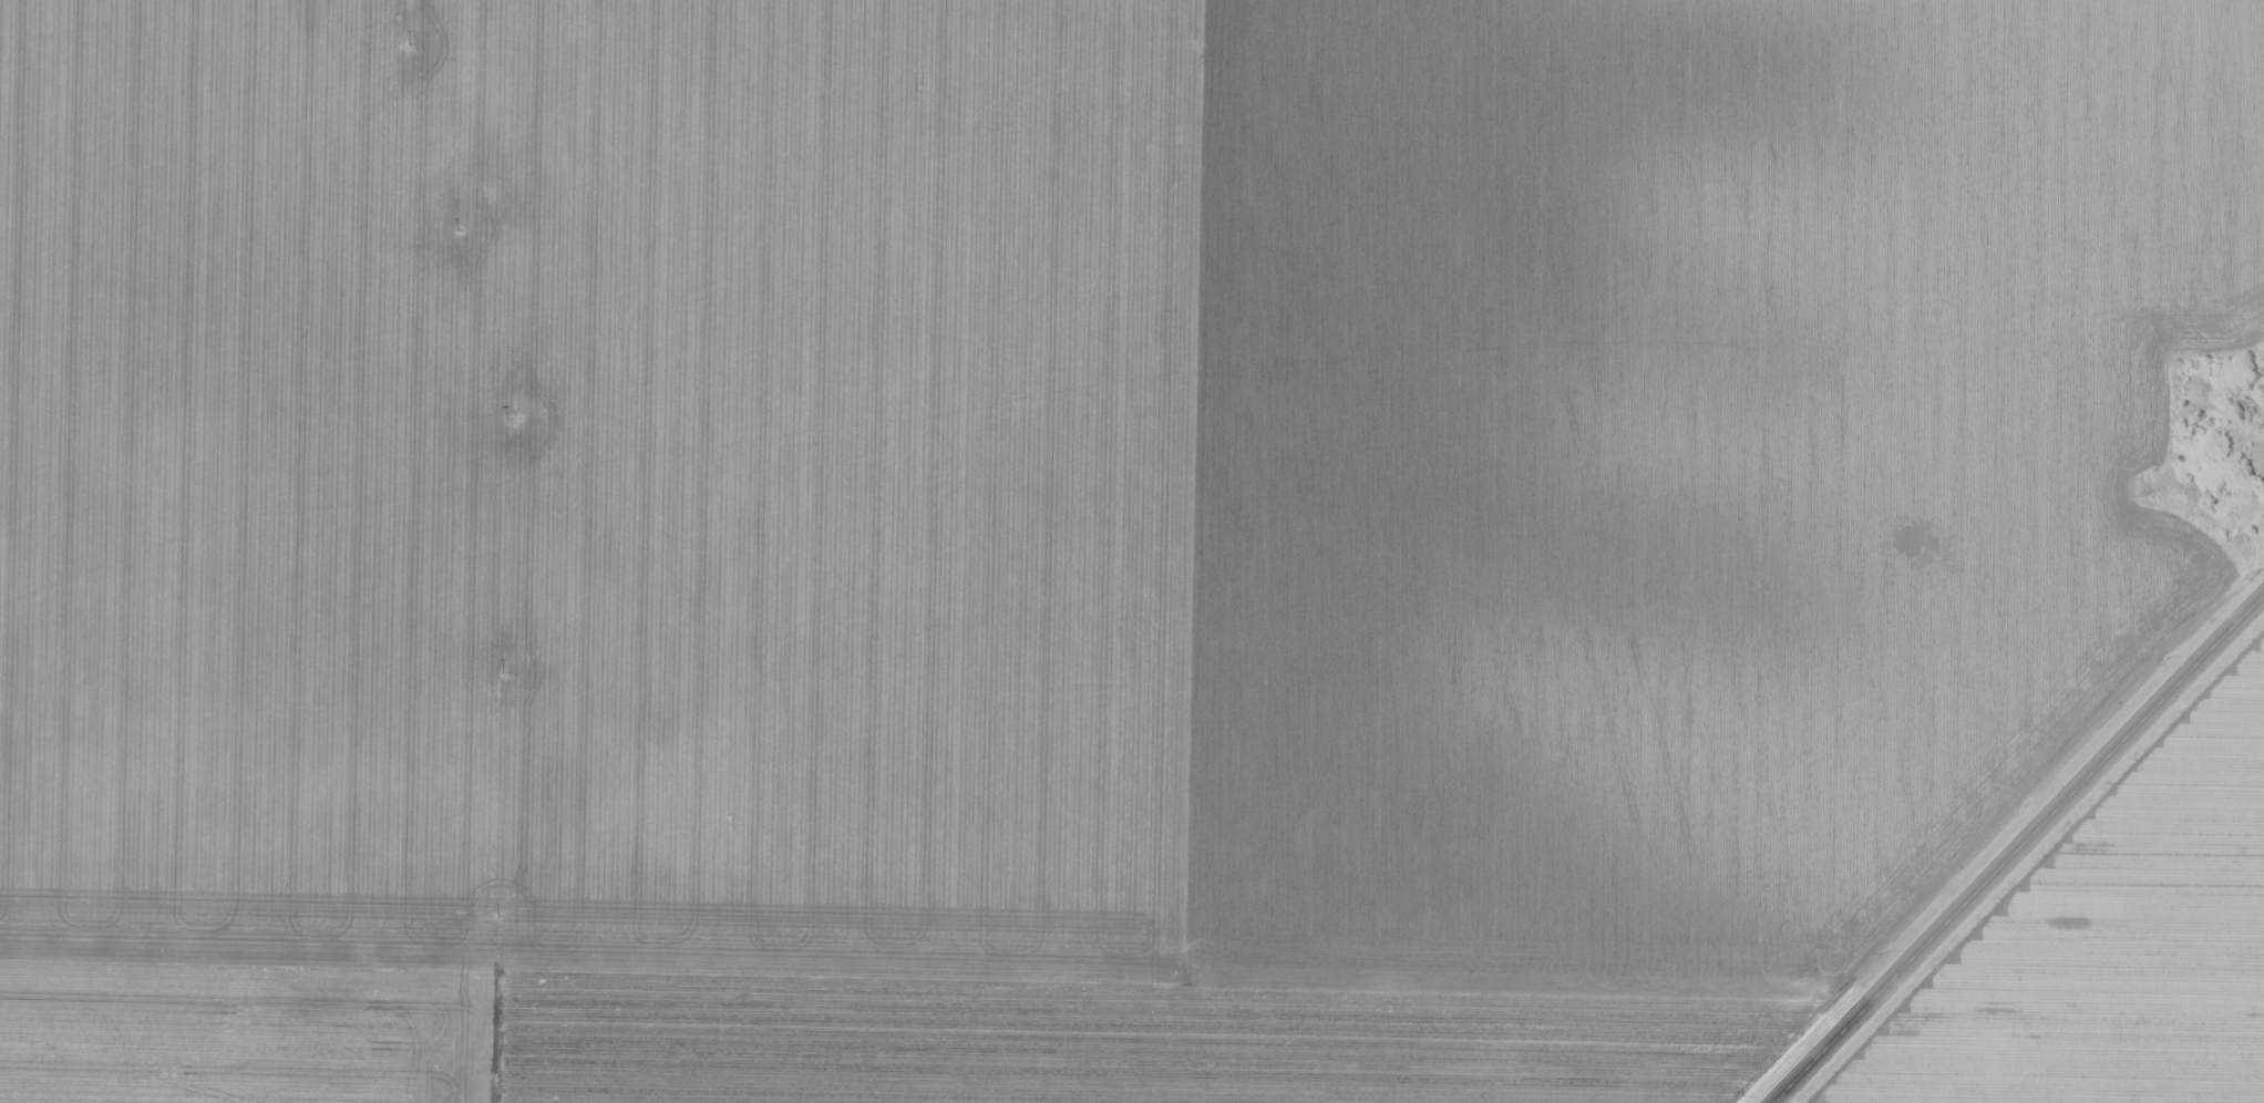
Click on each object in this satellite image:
building: (2232, 452)
road: (2019, 849)

